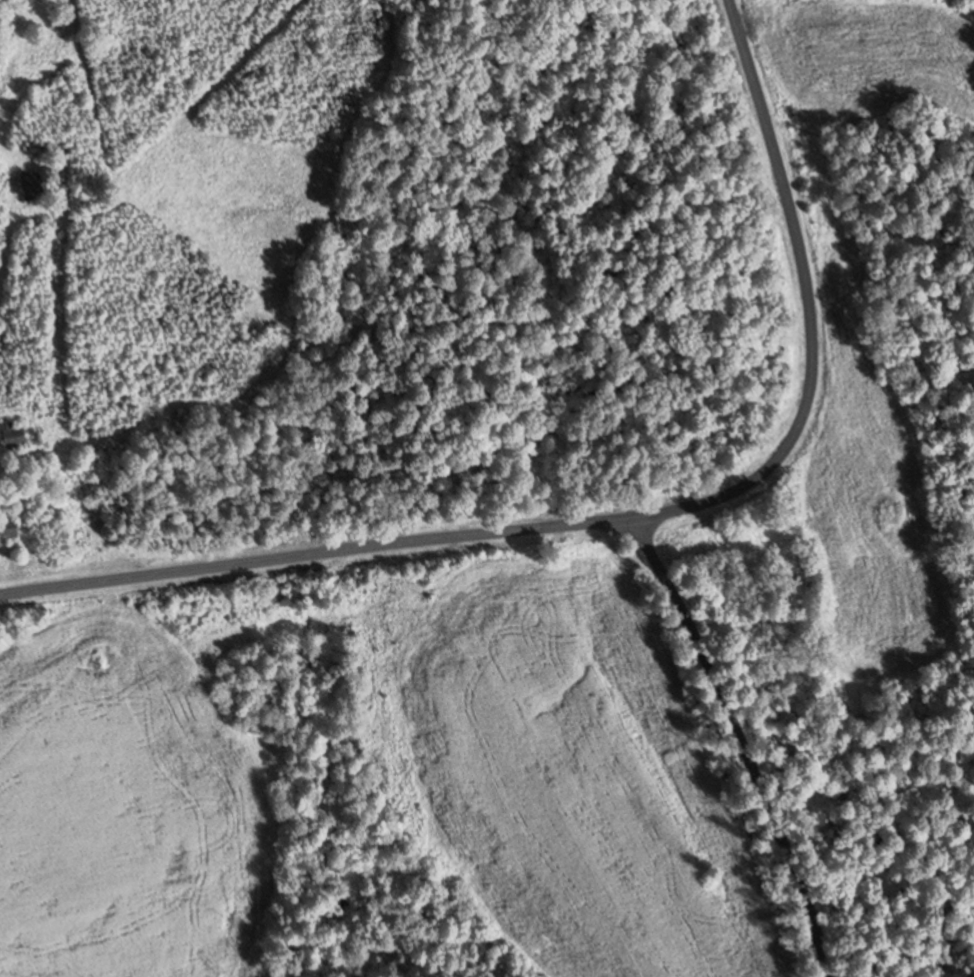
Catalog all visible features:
road: (808, 311)
road: (313, 555)
road: (740, 743)

